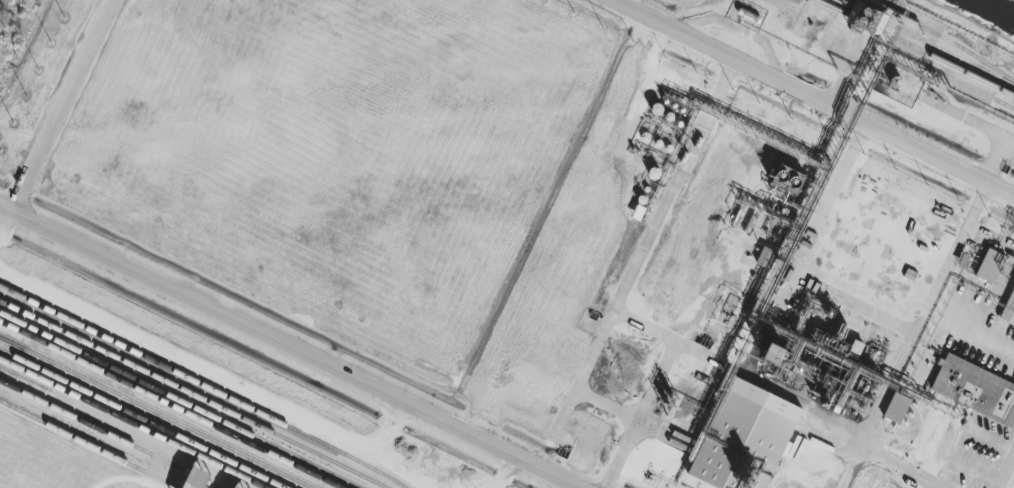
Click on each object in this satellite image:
road: (813, 98)
road: (63, 105)
building: (764, 257)
building: (989, 265)
road: (948, 274)
building: (1010, 301)
building: (1004, 313)
railway: (3, 339)
road: (287, 346)
building: (769, 351)
railway: (204, 385)
building: (979, 393)
railway: (193, 394)
railway: (179, 400)
railway: (170, 404)
building: (895, 407)
railway: (154, 412)
railway: (142, 418)
railway: (131, 423)
railway: (109, 434)
building: (751, 441)
railway: (88, 444)
building: (192, 478)
building: (232, 486)

